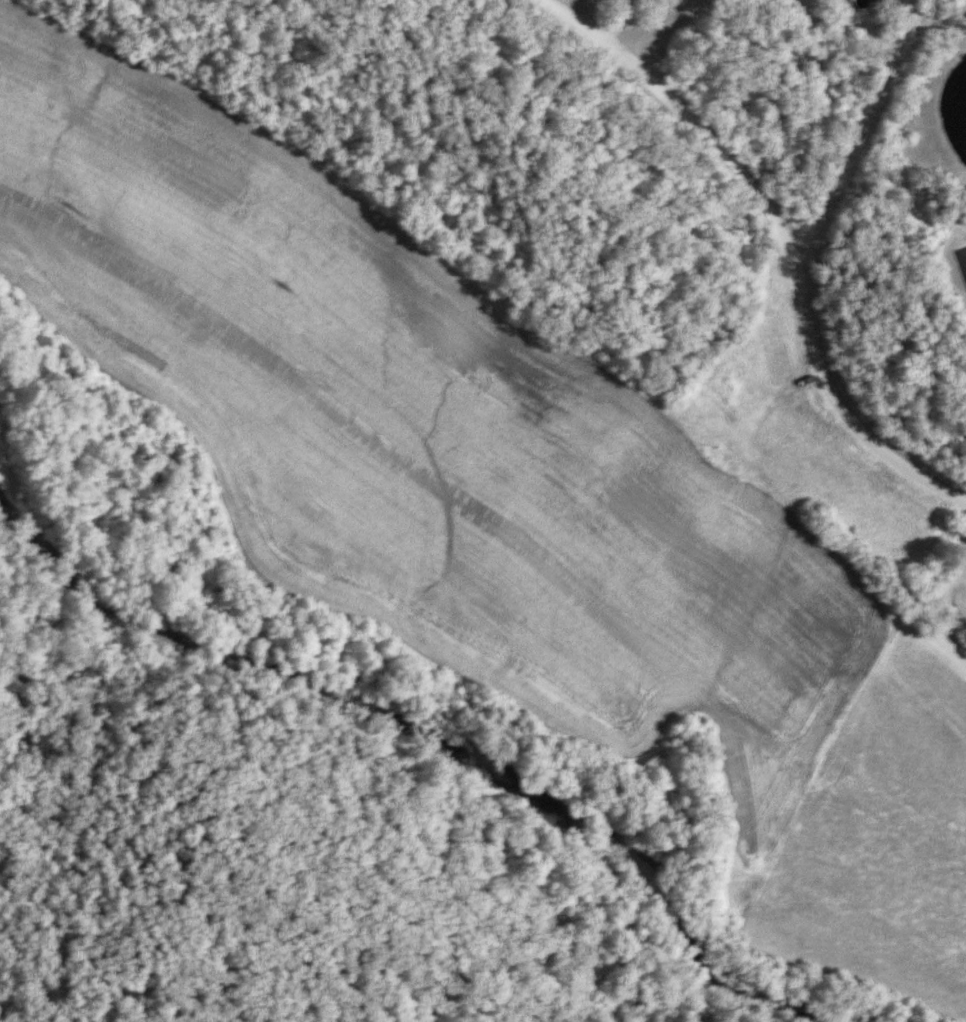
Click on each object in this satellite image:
building: (877, 1)
road: (578, 27)
road: (652, 27)
building: (963, 258)
road: (797, 283)

